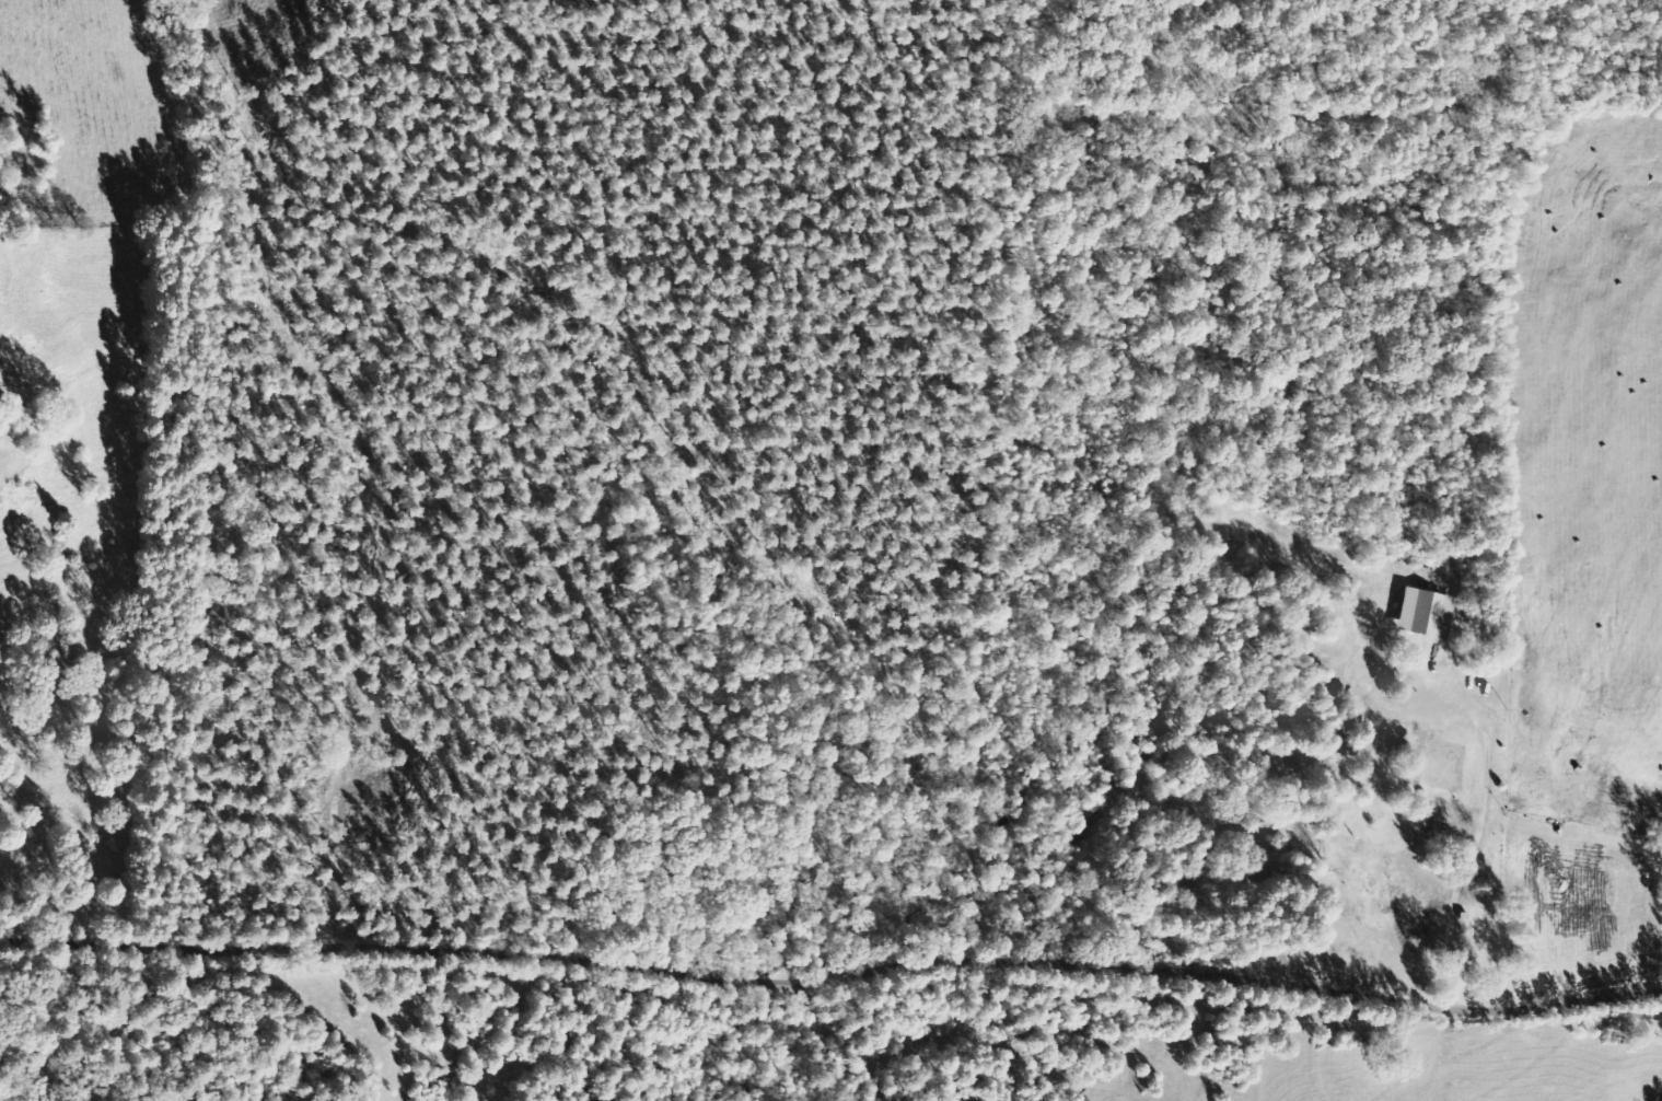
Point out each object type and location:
road: (830, 1004)

